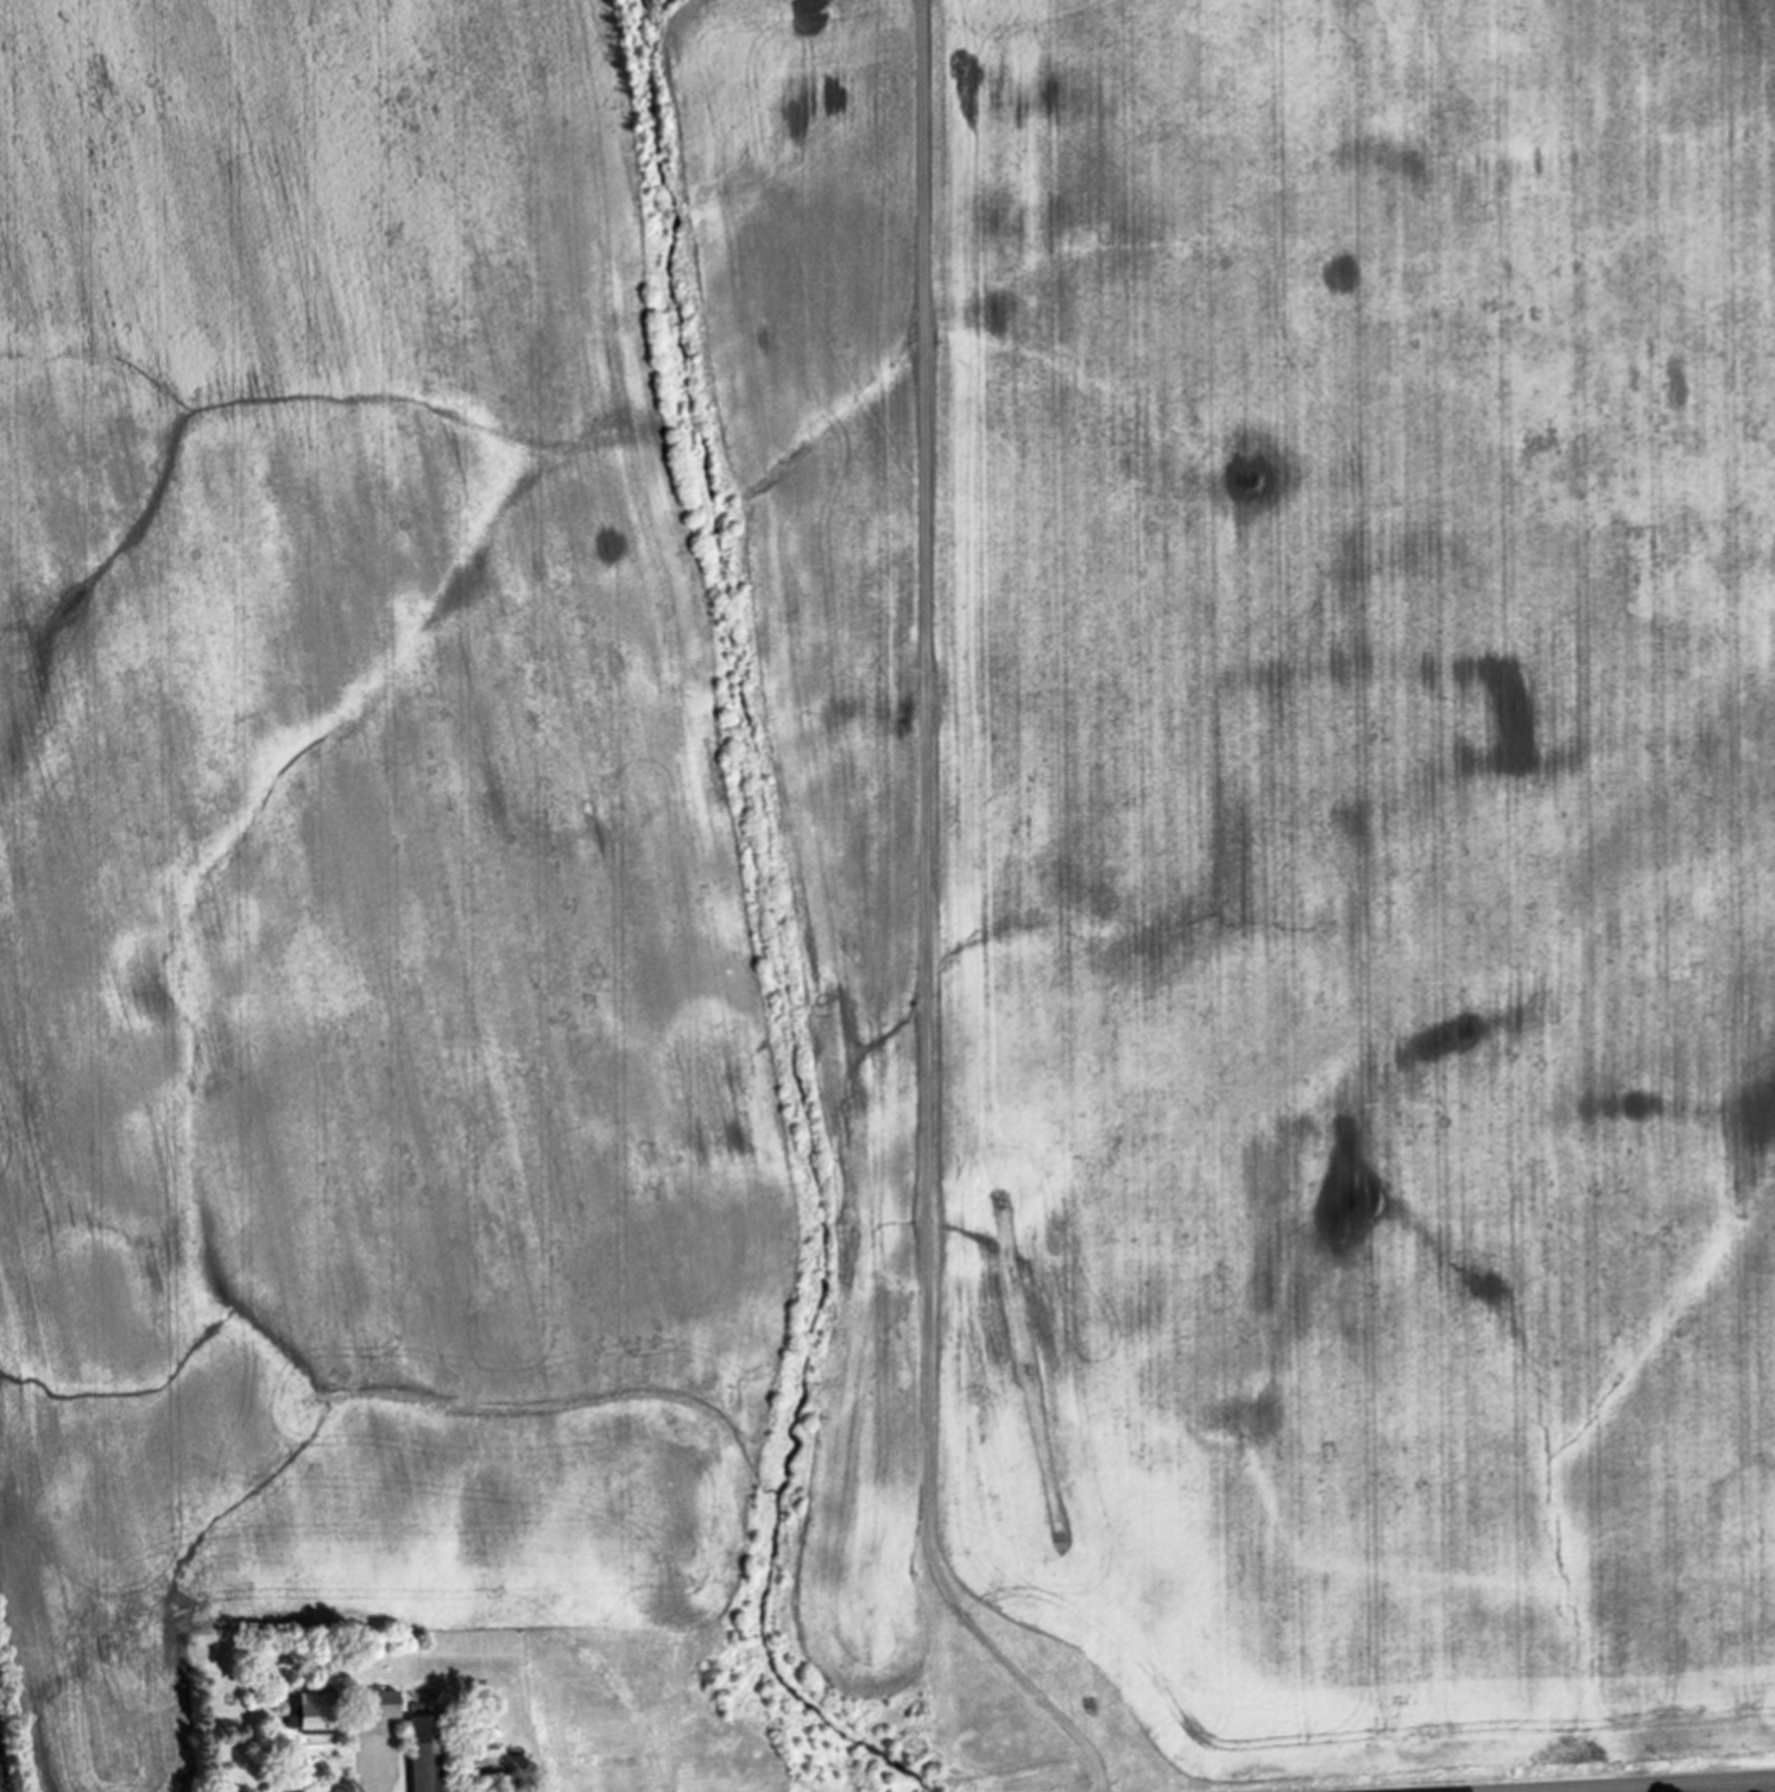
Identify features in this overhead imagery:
building: (374, 1706)
building: (302, 1720)
building: (416, 1754)
road: (1626, 1785)
airport: (1547, 1790)

